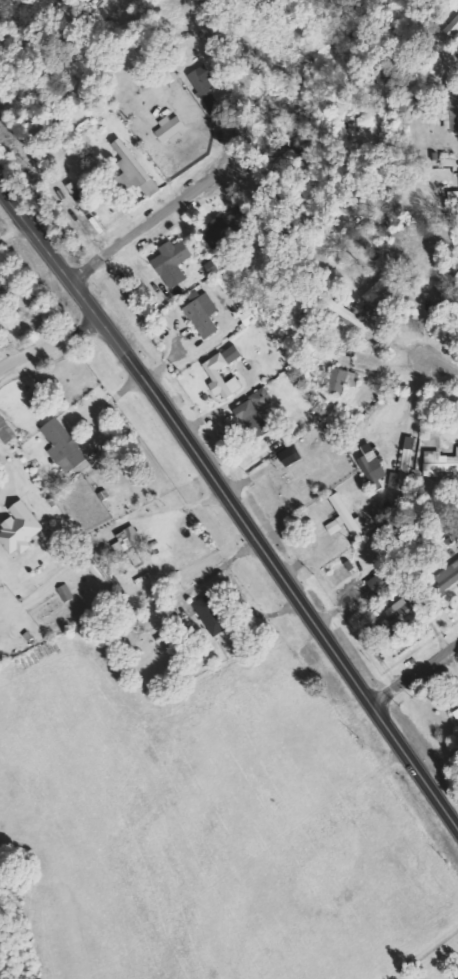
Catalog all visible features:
building: (450, 29)
building: (170, 128)
building: (132, 169)
building: (220, 230)
building: (171, 262)
building: (437, 292)
building: (202, 315)
building: (247, 317)
building: (0, 329)
road: (52, 347)
road: (440, 367)
building: (212, 372)
building: (340, 380)
building: (253, 413)
building: (5, 431)
building: (61, 444)
building: (289, 455)
building: (370, 465)
building: (401, 471)
road: (232, 504)
building: (343, 517)
building: (18, 528)
building: (455, 537)
building: (127, 544)
building: (446, 578)
building: (375, 583)
building: (65, 592)
building: (398, 610)
building: (209, 614)
road: (416, 678)
building: (456, 713)

